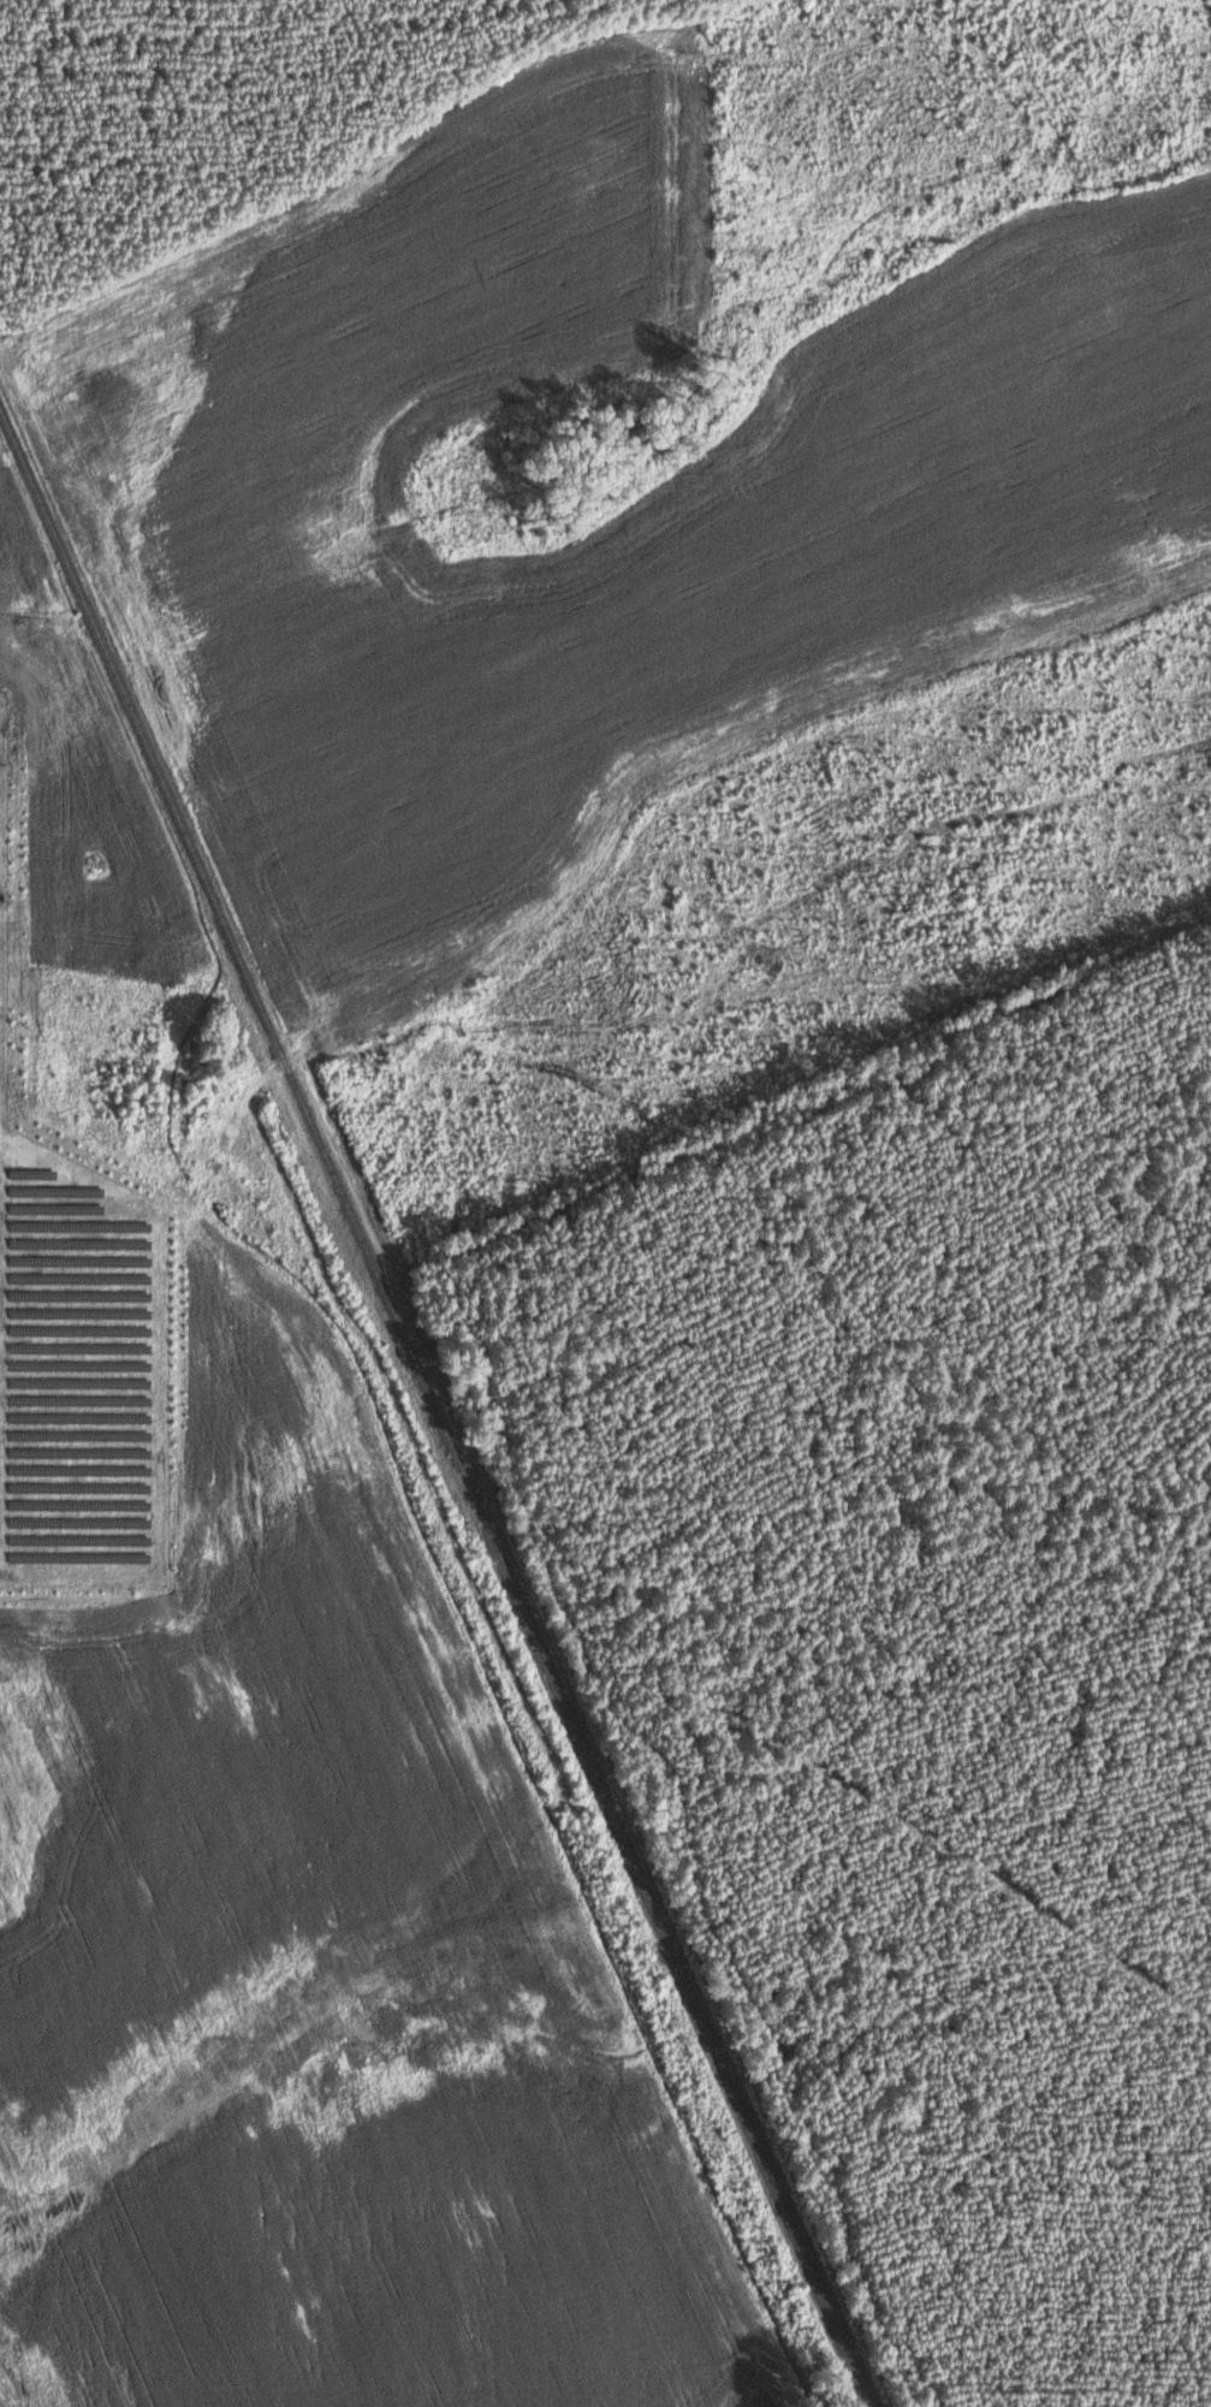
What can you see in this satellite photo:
railway: (437, 1405)

